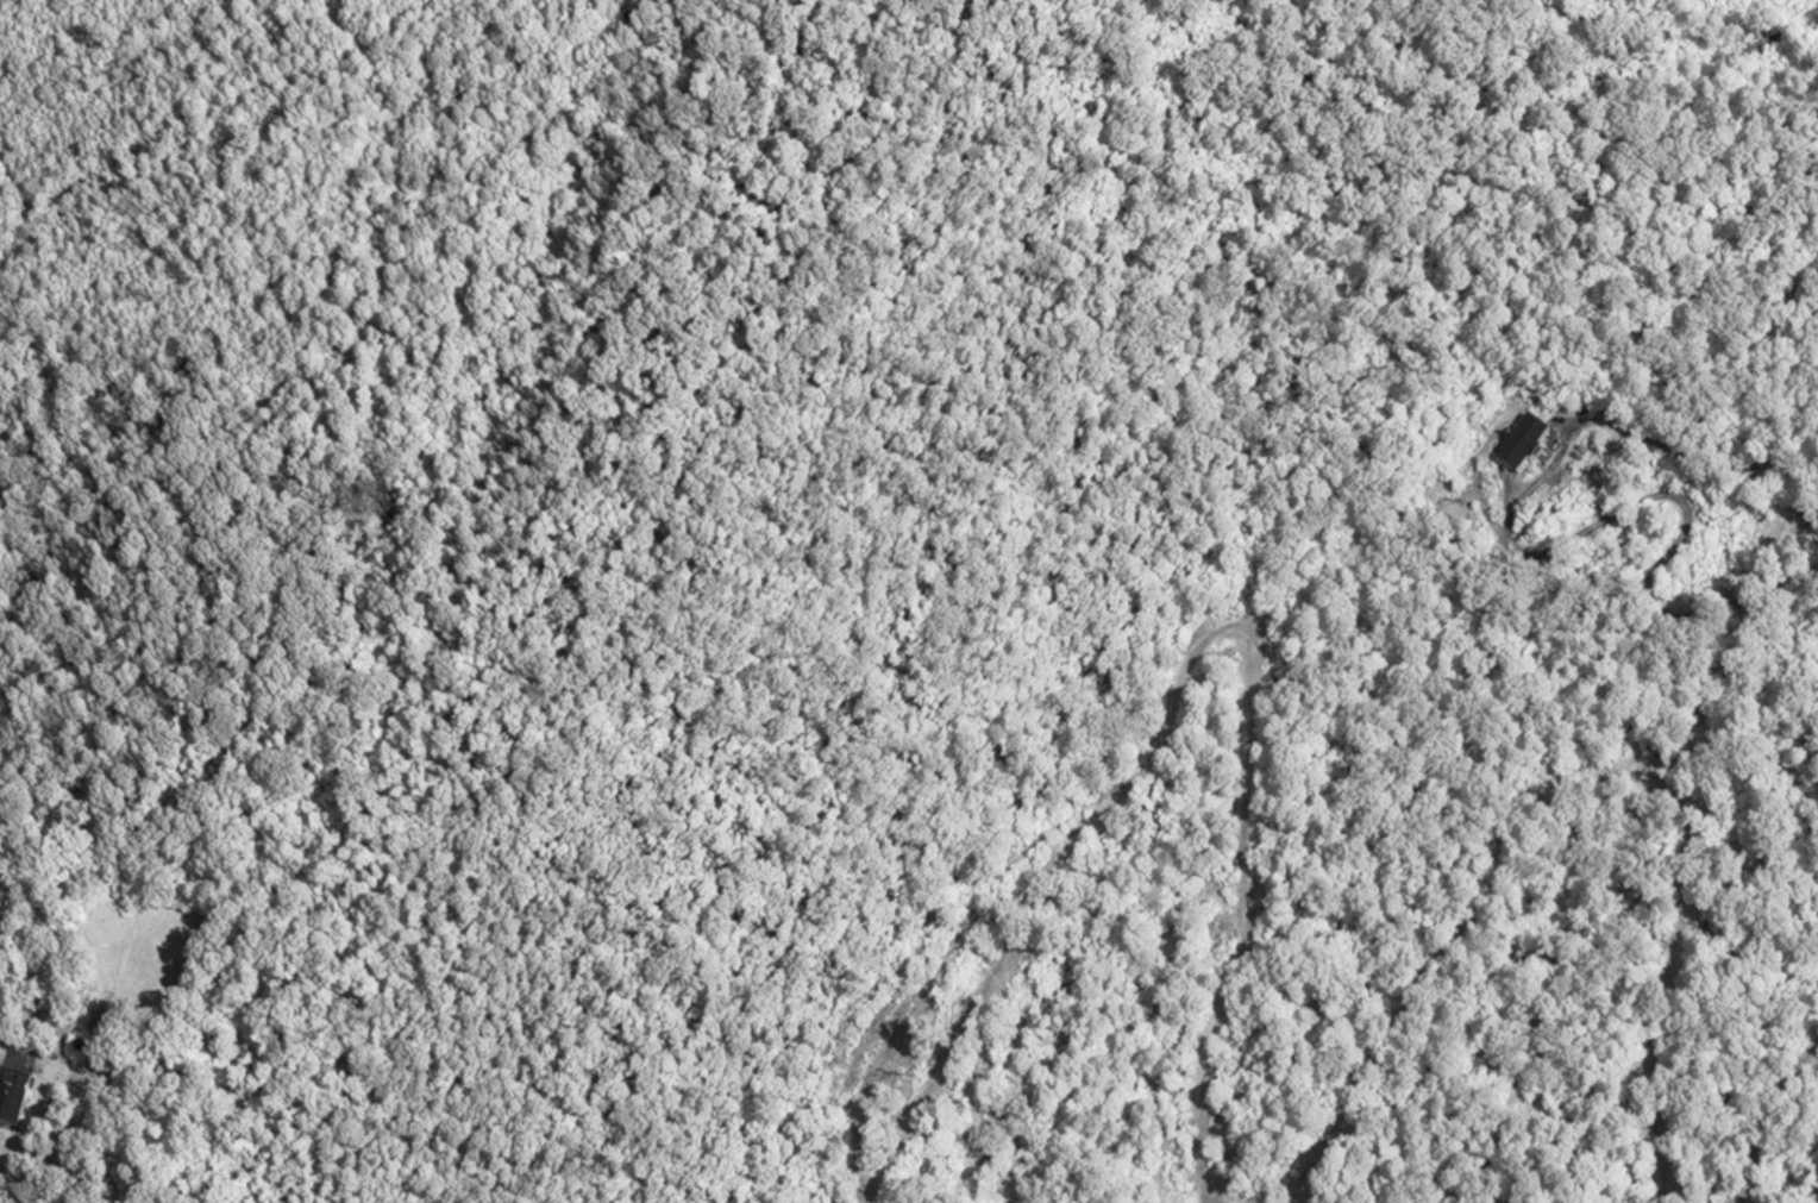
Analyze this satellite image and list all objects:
building: (1524, 446)
road: (1679, 452)
road: (1663, 493)
road: (299, 604)
building: (13, 1097)

